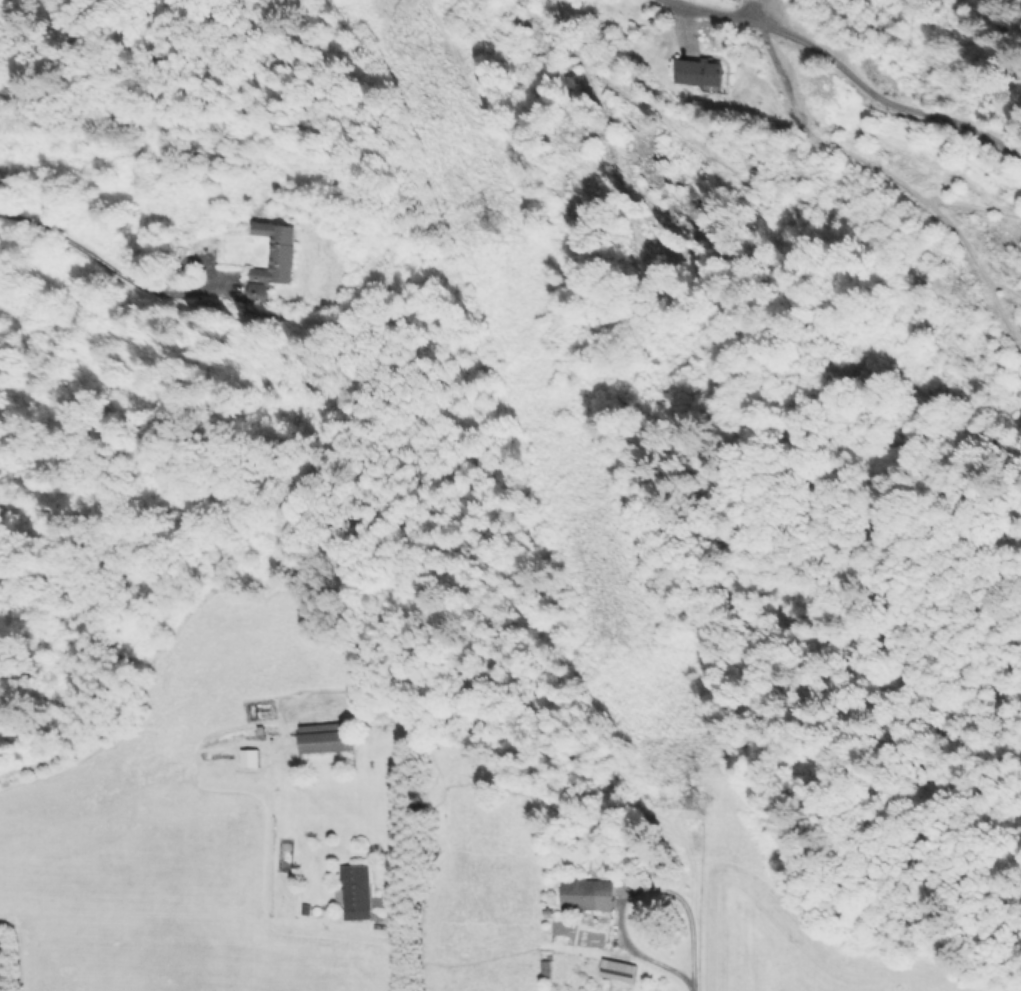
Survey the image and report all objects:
building: (701, 71)
road: (822, 127)
power tower: (486, 225)
road: (101, 251)
building: (274, 263)
building: (329, 738)
building: (251, 757)
power tower: (693, 807)
road: (630, 886)
building: (355, 889)
building: (587, 893)
road: (394, 943)
building: (615, 969)
road: (688, 986)

